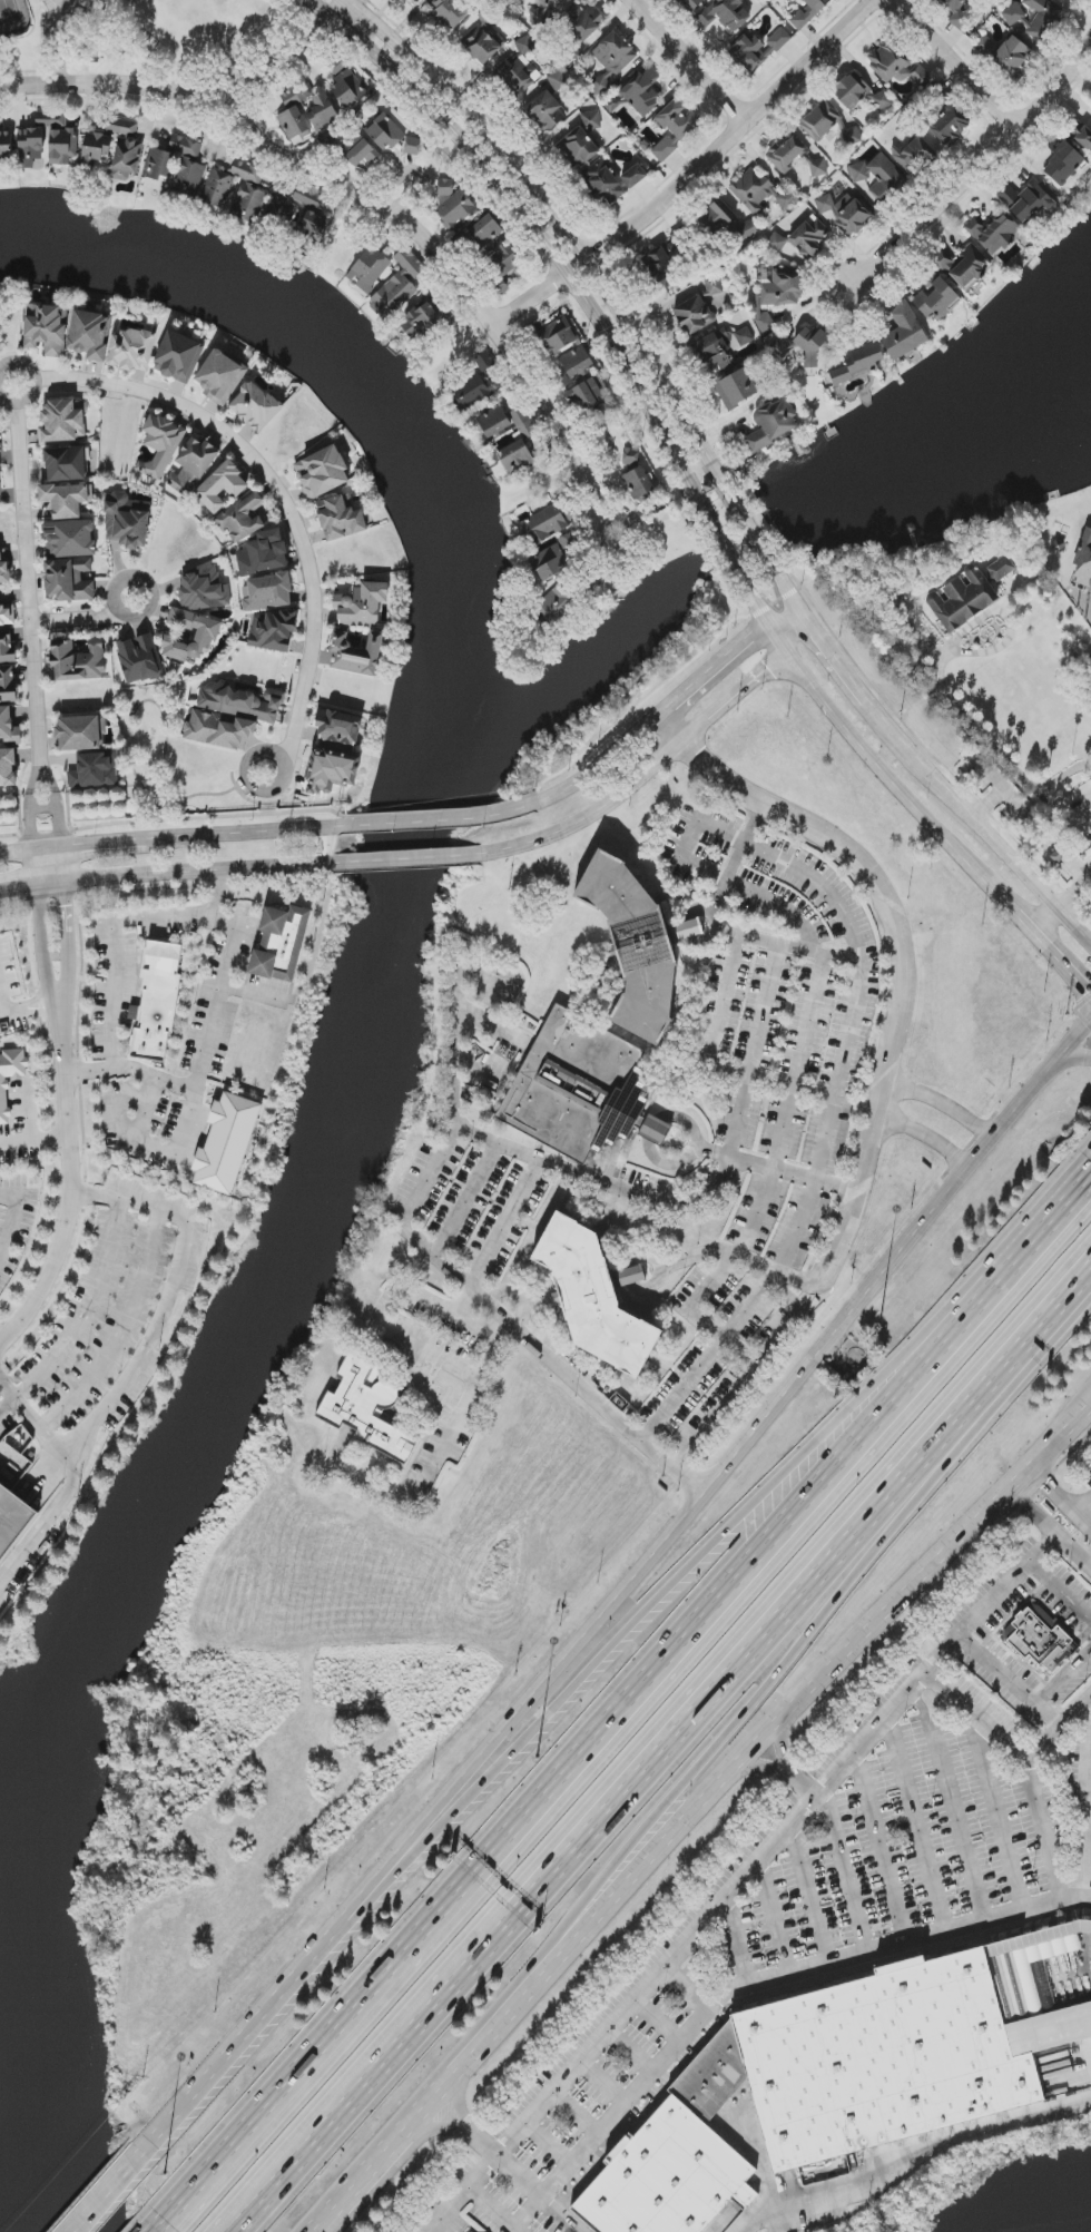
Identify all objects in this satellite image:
building: (414, 0)
building: (551, 3)
building: (691, 4)
building: (947, 6)
road: (57, 10)
building: (449, 12)
building: (808, 12)
building: (724, 14)
building: (1013, 14)
building: (1041, 17)
building: (584, 21)
building: (961, 21)
building: (779, 39)
building: (484, 45)
building: (525, 46)
building: (750, 52)
building: (1013, 56)
building: (612, 58)
road: (691, 60)
building: (888, 61)
road: (956, 62)
building: (518, 75)
building: (914, 75)
building: (347, 86)
road: (189, 90)
building: (642, 91)
building: (859, 94)
building: (317, 107)
building: (545, 112)
building: (293, 122)
building: (827, 124)
building: (950, 125)
building: (675, 128)
building: (385, 132)
building: (1082, 136)
building: (580, 141)
building: (6, 142)
building: (185, 146)
building: (412, 146)
building: (62, 148)
building: (96, 149)
building: (126, 149)
building: (912, 153)
building: (787, 154)
building: (159, 165)
road: (979, 166)
building: (1067, 167)
building: (818, 168)
road: (415, 173)
building: (877, 173)
building: (190, 174)
road: (691, 175)
building: (635, 176)
building: (603, 183)
building: (218, 189)
building: (248, 191)
building: (759, 193)
building: (309, 198)
building: (1026, 201)
building: (454, 203)
building: (824, 204)
building: (718, 217)
building: (855, 217)
building: (302, 224)
building: (747, 229)
building: (485, 230)
building: (994, 233)
building: (802, 238)
road: (571, 240)
road: (542, 244)
building: (503, 259)
building: (963, 266)
building: (368, 269)
road: (453, 276)
building: (400, 285)
building: (778, 295)
building: (936, 298)
building: (699, 308)
building: (421, 321)
building: (47, 328)
building: (904, 333)
building: (90, 334)
building: (558, 335)
building: (721, 348)
building: (132, 351)
building: (178, 356)
building: (484, 361)
building: (578, 363)
building: (858, 363)
building: (220, 375)
building: (560, 381)
building: (736, 389)
building: (471, 393)
building: (584, 395)
building: (255, 406)
building: (65, 421)
building: (495, 423)
building: (773, 423)
building: (517, 434)
building: (160, 444)
building: (518, 461)
building: (0, 462)
building: (66, 464)
building: (193, 464)
road: (274, 470)
building: (322, 472)
building: (223, 486)
building: (67, 499)
building: (243, 518)
building: (342, 518)
building: (127, 521)
building: (543, 525)
building: (70, 539)
road: (757, 544)
building: (264, 553)
road: (726, 559)
building: (545, 566)
building: (1083, 568)
building: (1001, 569)
building: (4, 571)
building: (69, 580)
building: (204, 589)
road: (787, 590)
building: (267, 592)
building: (962, 600)
road: (1087, 601)
building: (361, 603)
building: (556, 603)
building: (7, 616)
road: (32, 618)
road: (87, 618)
road: (1009, 623)
building: (274, 631)
building: (207, 633)
building: (7, 647)
building: (356, 655)
building: (139, 659)
building: (79, 660)
road: (843, 670)
building: (243, 702)
road: (662, 711)
building: (9, 727)
building: (338, 729)
building: (218, 730)
building: (81, 732)
road: (994, 744)
road: (866, 756)
road: (659, 760)
building: (8, 768)
building: (95, 770)
building: (331, 771)
road: (989, 804)
road: (970, 816)
road: (1029, 816)
road: (429, 820)
road: (1088, 822)
road: (245, 833)
road: (100, 844)
road: (23, 853)
road: (686, 858)
road: (405, 859)
road: (49, 864)
road: (165, 872)
road: (726, 876)
road: (1089, 876)
road: (218, 892)
road: (1072, 894)
road: (776, 906)
road: (1045, 920)
road: (1024, 923)
road: (1074, 924)
road: (68, 941)
road: (43, 943)
building: (281, 943)
building: (637, 944)
road: (797, 951)
road: (1062, 961)
road: (228, 962)
road: (905, 972)
traffic signals: (1087, 987)
road: (253, 991)
road: (724, 993)
building: (157, 1001)
road: (21, 1013)
road: (1074, 1058)
road: (130, 1070)
building: (10, 1078)
building: (580, 1089)
road: (942, 1104)
road: (147, 1108)
road: (24, 1109)
road: (828, 1115)
road: (669, 1118)
road: (35, 1134)
road: (927, 1138)
road: (777, 1142)
building: (226, 1143)
road: (776, 1169)
road: (605, 1182)
road: (73, 1188)
road: (464, 1199)
road: (16, 1211)
road: (406, 1218)
road: (1033, 1233)
road: (714, 1252)
road: (645, 1261)
building: (596, 1296)
road: (462, 1302)
road: (385, 1307)
road: (80, 1316)
road: (121, 1331)
road: (723, 1337)
road: (531, 1344)
road: (138, 1361)
road: (747, 1371)
road: (460, 1407)
building: (366, 1409)
road: (36, 1427)
building: (14, 1457)
road: (1061, 1501)
road: (1084, 1510)
building: (12, 1518)
road: (674, 1527)
road: (1050, 1528)
road: (1059, 1595)
building: (1040, 1638)
road: (799, 1650)
road: (606, 1656)
road: (1062, 1679)
road: (1009, 1684)
road: (790, 1709)
road: (942, 1709)
road: (977, 1719)
road: (1059, 1729)
road: (779, 1750)
road: (668, 1753)
road: (564, 1763)
road: (761, 1769)
road: (804, 1787)
road: (954, 1807)
road: (1000, 1820)
road: (1087, 1825)
road: (918, 1828)
road: (1042, 1832)
road: (881, 1851)
road: (761, 1860)
road: (843, 1877)
road: (812, 1897)
road: (775, 1921)
road: (736, 1947)
road: (756, 1987)
road: (690, 1988)
road: (658, 2024)
building: (906, 2049)
road: (631, 2054)
building: (712, 2077)
road: (455, 2078)
road: (603, 2085)
road: (189, 2095)
road: (577, 2115)
road: (468, 2133)
road: (549, 2146)
road: (911, 2156)
road: (508, 2166)
road: (372, 2173)
building: (667, 2177)
road: (102, 2199)
road: (107, 2199)
road: (450, 2211)
road: (493, 2211)
road: (560, 2216)
road: (328, 2222)
building: (471, 2231)

